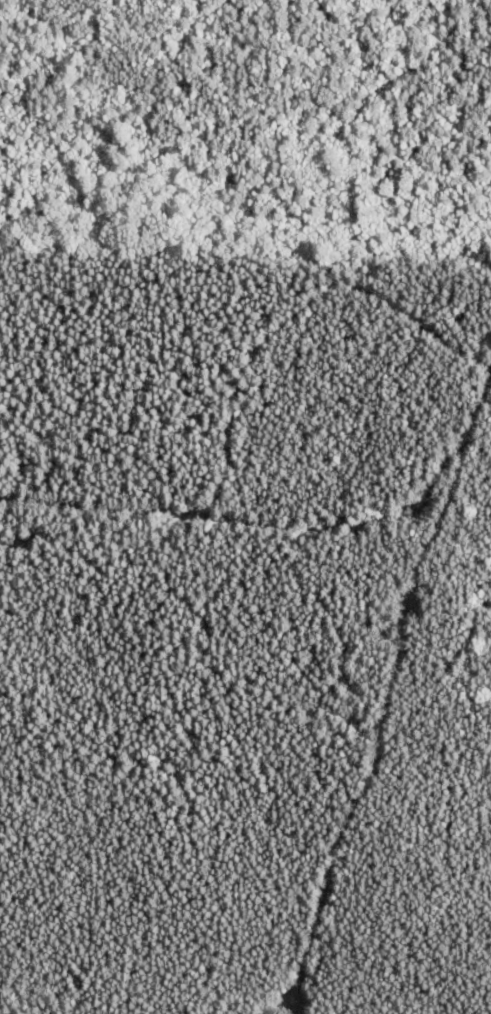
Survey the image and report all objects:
road: (391, 703)

